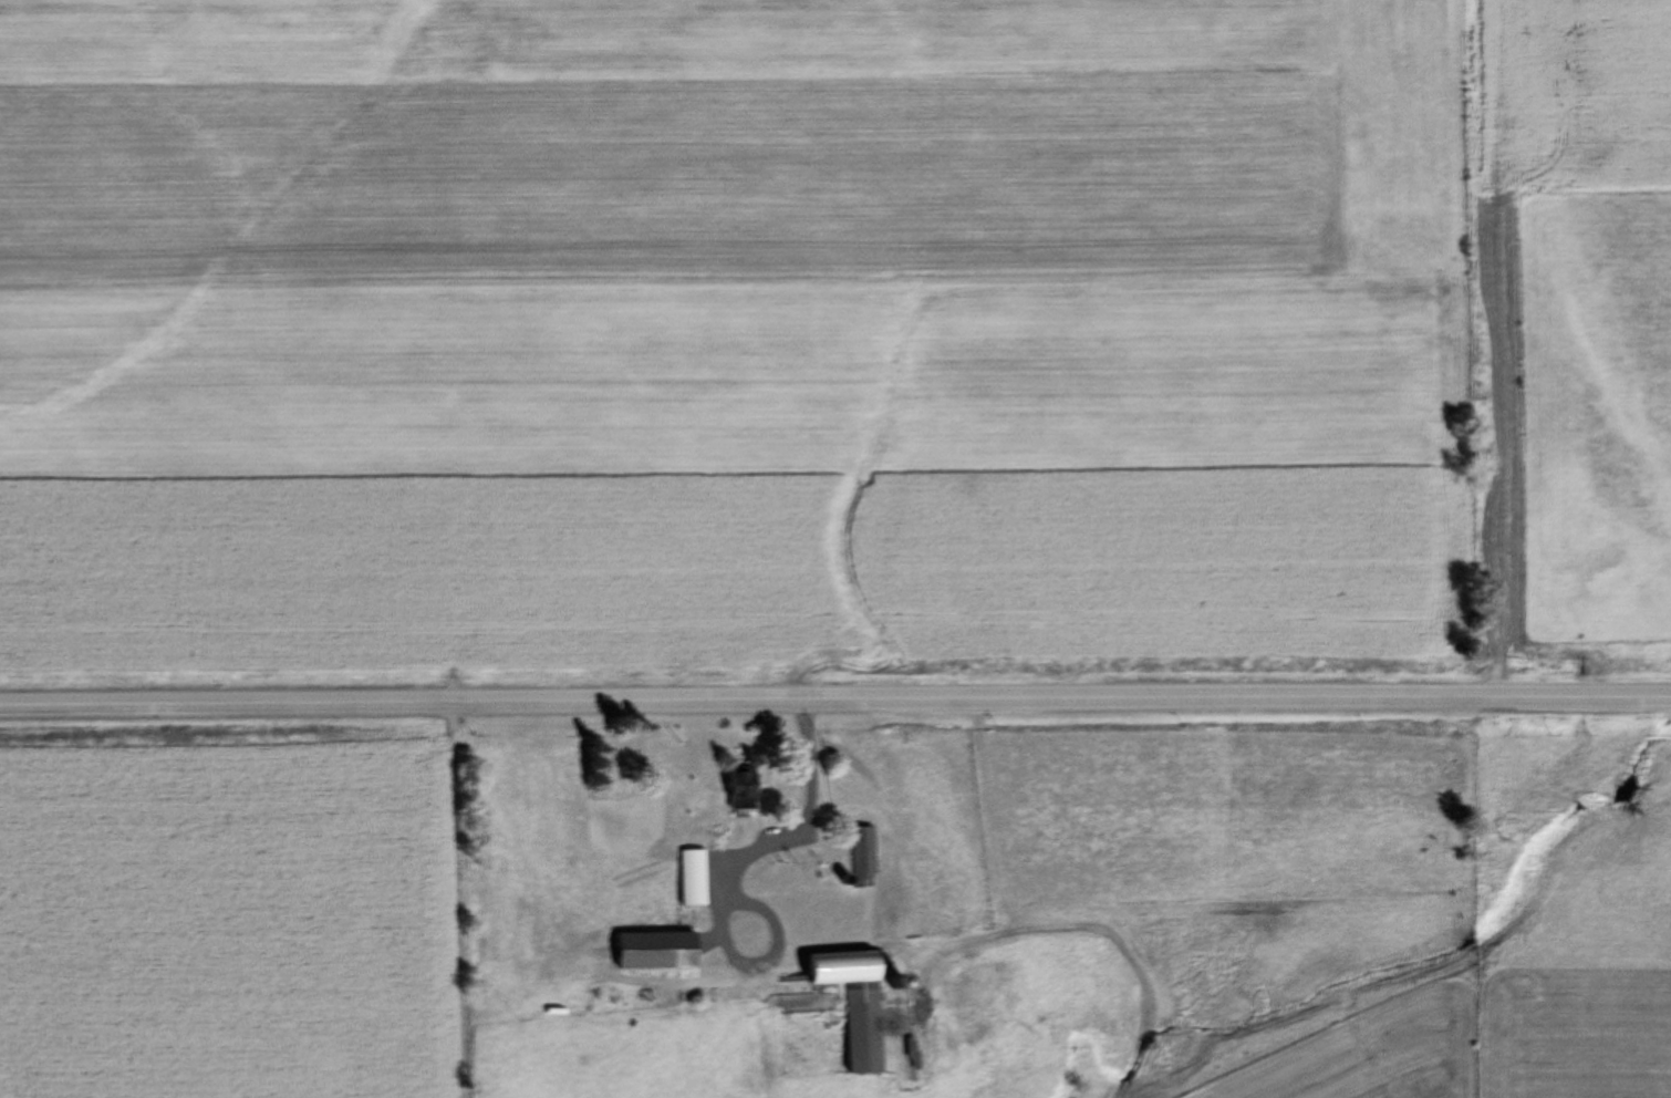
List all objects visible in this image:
road: (834, 703)
building: (733, 788)
building: (642, 810)
building: (857, 859)
building: (686, 878)
building: (810, 930)
building: (646, 951)
building: (845, 1002)

